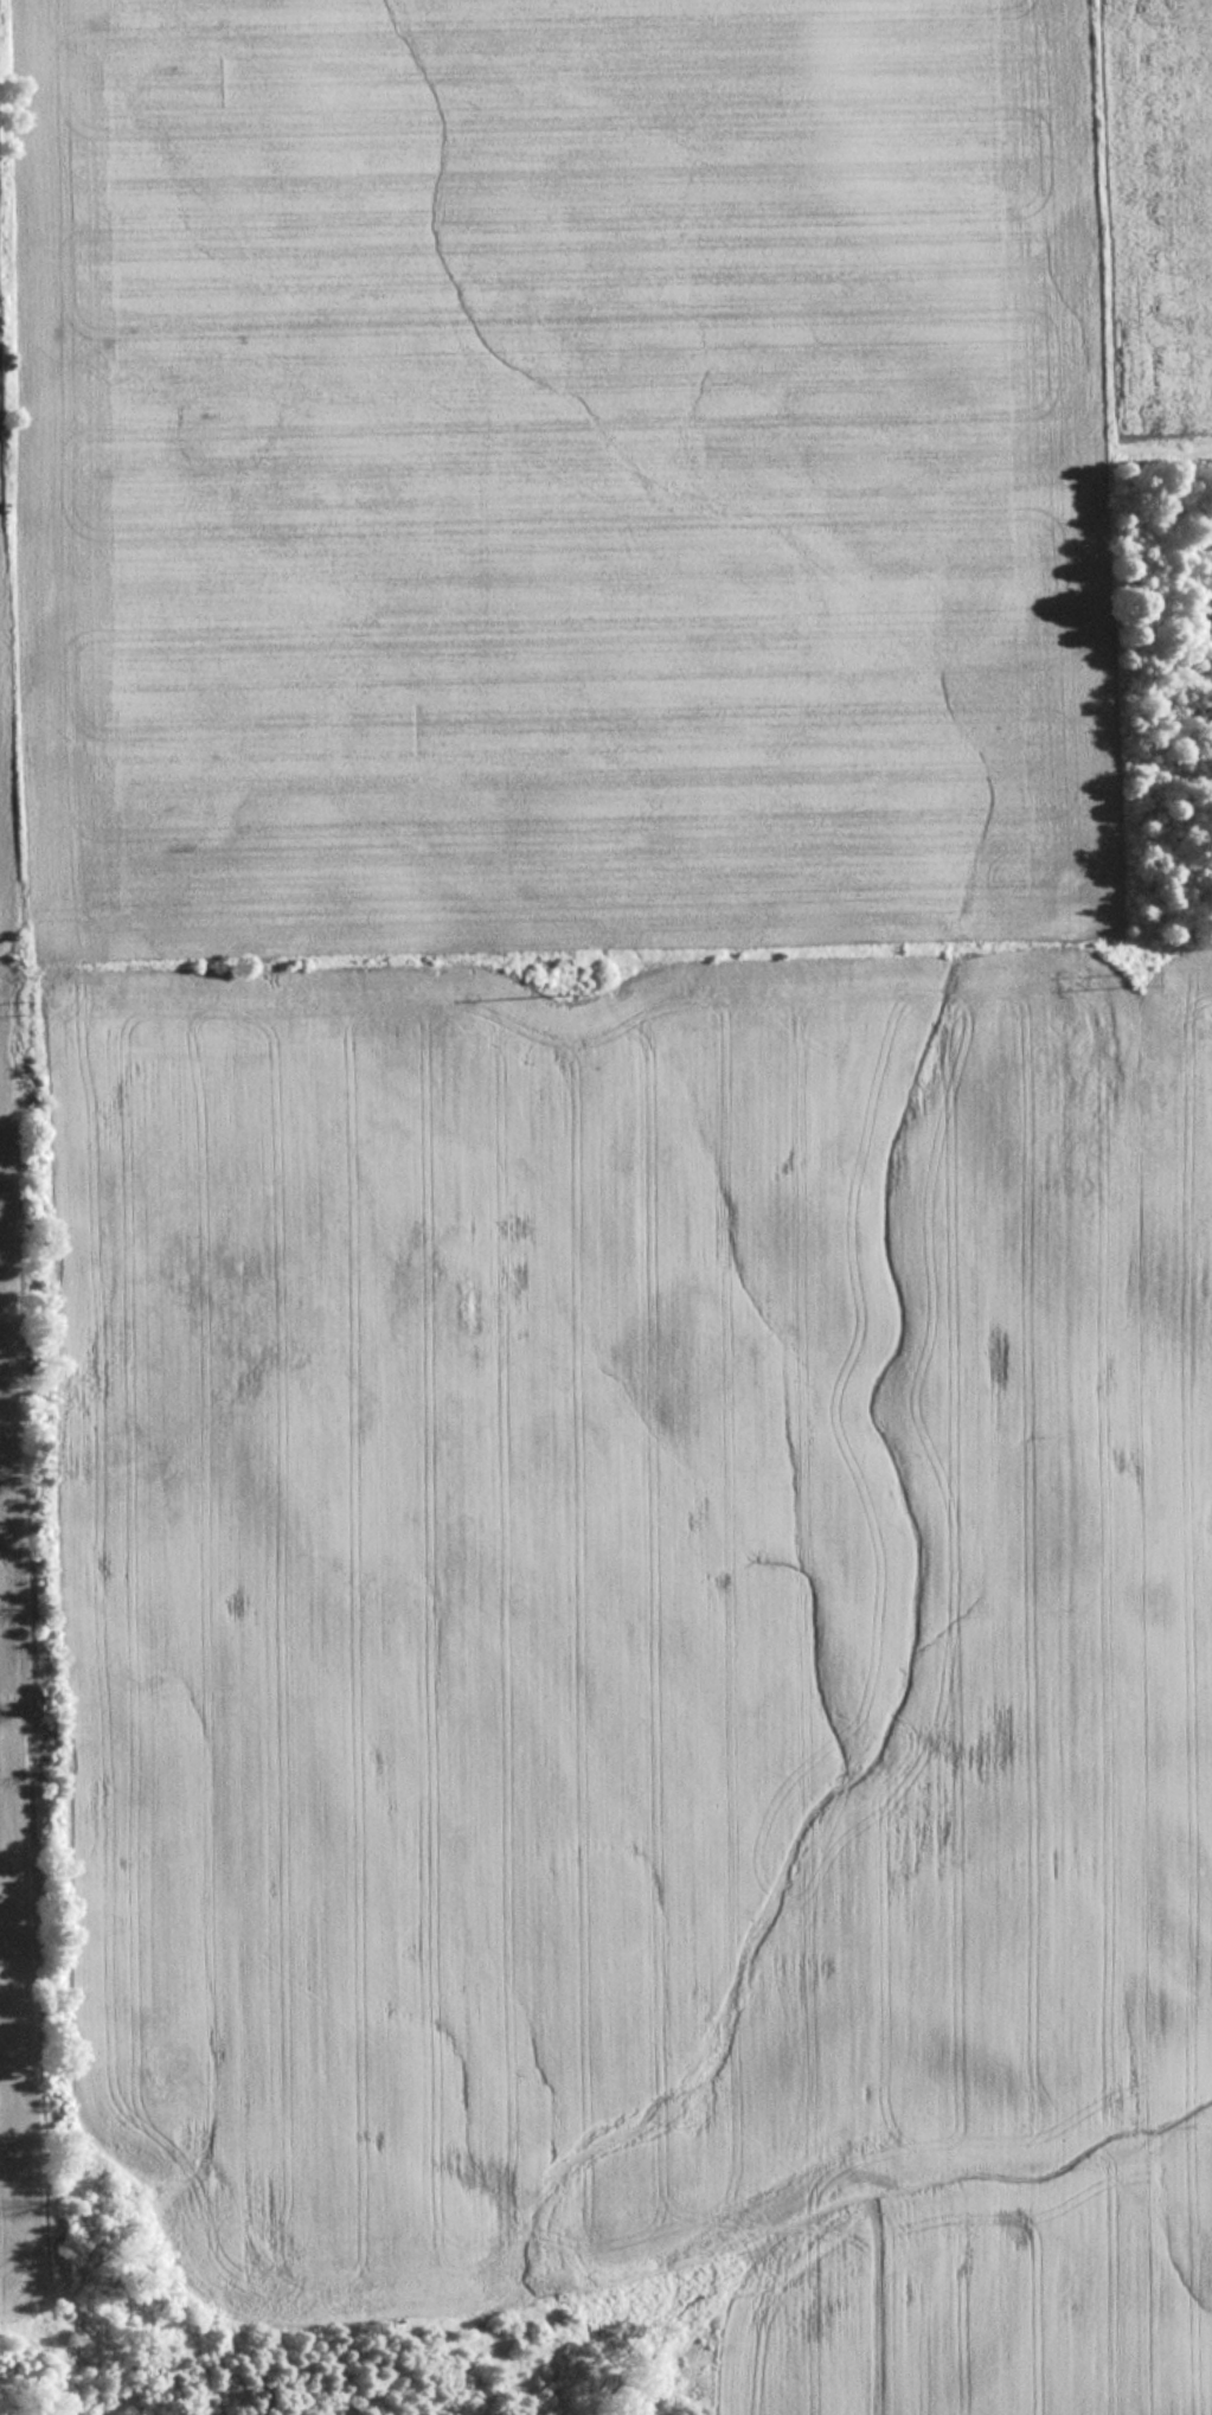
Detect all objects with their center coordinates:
power tower: (1139, 980)
power tower: (556, 992)
power tower: (21, 1010)

